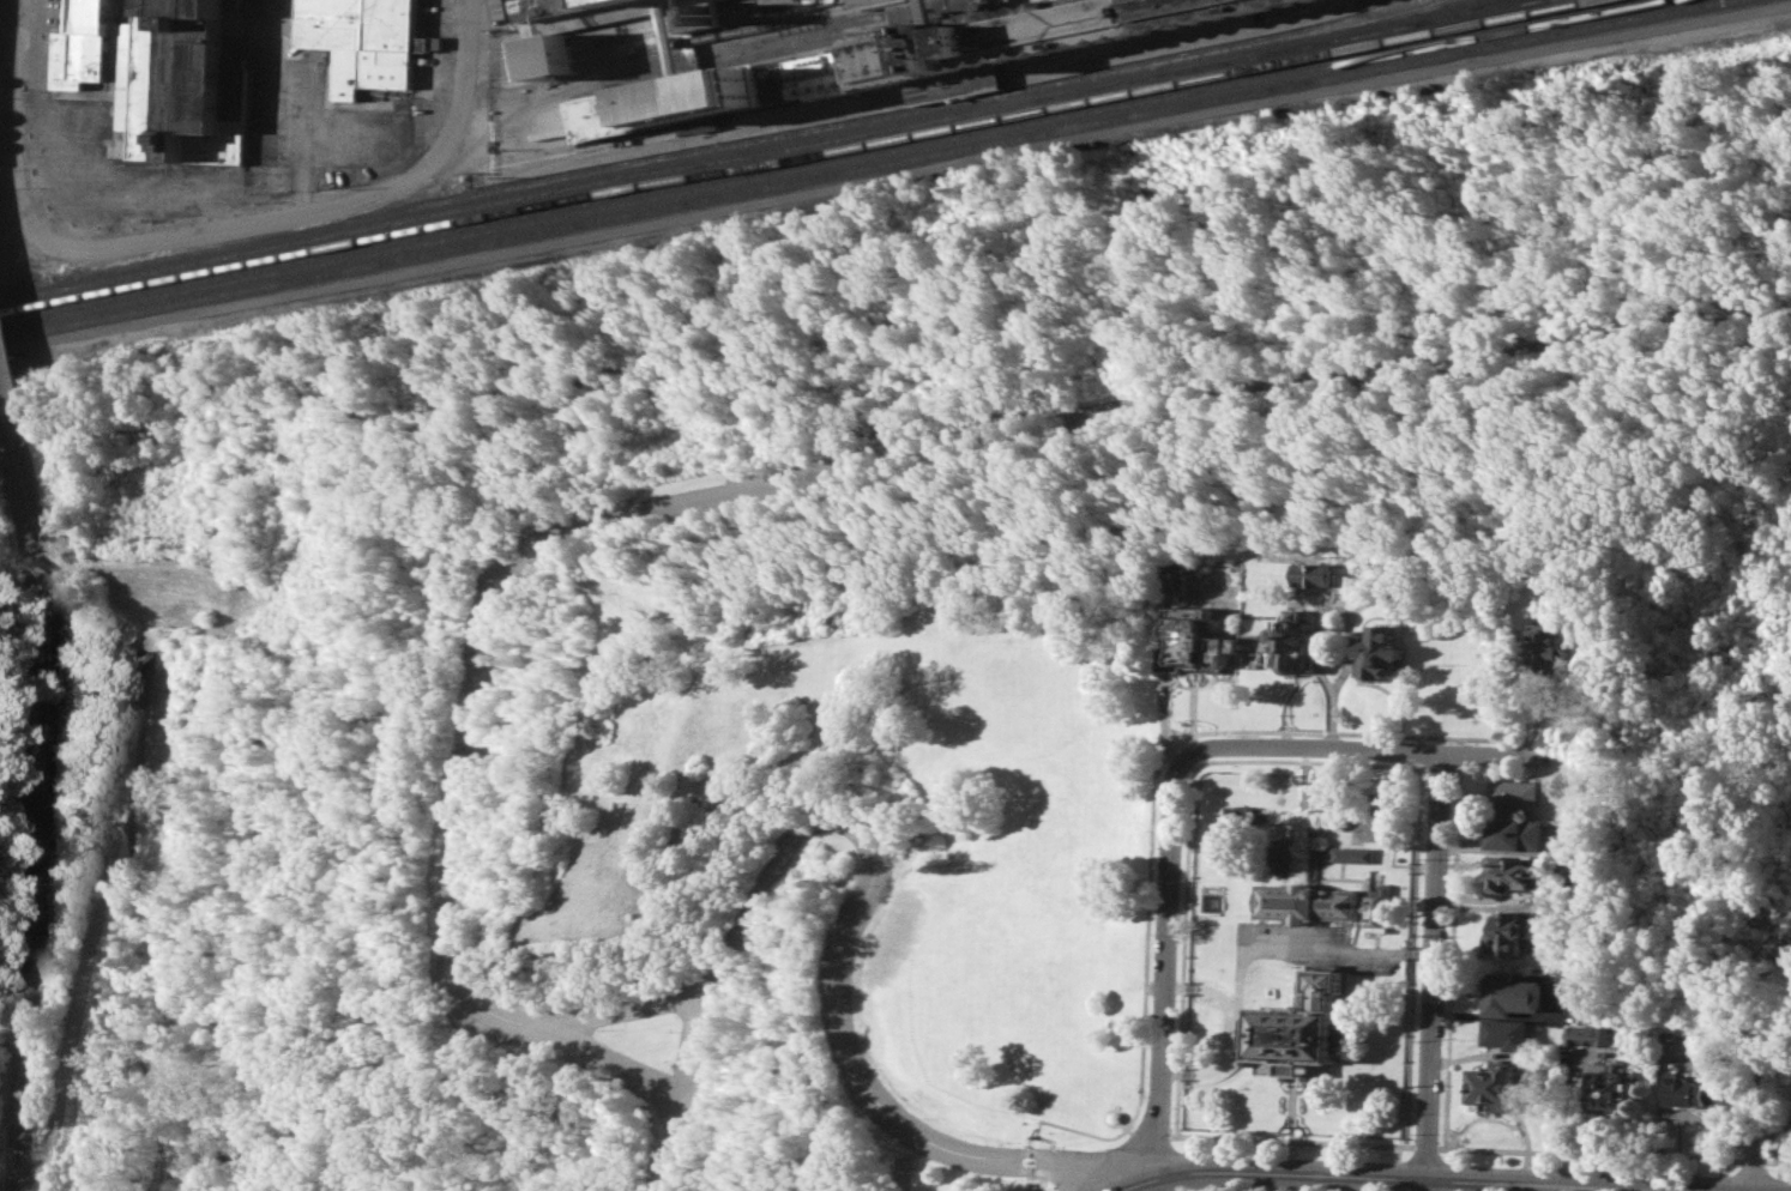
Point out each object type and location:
railway: (1458, 11)
railway: (1472, 11)
building: (590, 13)
road: (8, 32)
railway: (761, 37)
railway: (696, 38)
building: (362, 41)
building: (427, 43)
building: (62, 55)
building: (891, 64)
building: (186, 65)
railway: (655, 73)
railway: (1106, 91)
road: (300, 145)
railway: (718, 147)
railway: (801, 156)
railway: (707, 162)
railway: (837, 162)
railway: (867, 167)
road: (231, 226)
road: (7, 398)
road: (772, 486)
building: (1314, 574)
building: (1175, 579)
building: (1410, 579)
road: (11, 581)
road: (1320, 617)
park: (832, 634)
building: (1200, 637)
building: (1295, 641)
building: (1551, 649)
building: (1383, 652)
road: (1290, 699)
flagpole: (1477, 719)
road: (1311, 745)
road: (1490, 752)
road: (1188, 766)
road: (1307, 775)
building: (1515, 794)
road: (34, 812)
road: (1188, 817)
road: (10, 832)
building: (1516, 833)
road: (1151, 836)
road: (868, 844)
building: (1355, 853)
building: (1284, 854)
building: (1514, 871)
building: (1309, 901)
building: (1380, 905)
building: (1513, 931)
road: (1415, 939)
road: (1454, 941)
parking lot: (1317, 945)
road: (1250, 954)
road: (1434, 965)
road: (1163, 973)
road: (1202, 987)
building: (1512, 993)
road: (1, 1003)
road: (623, 1014)
building: (1304, 1026)
building: (1509, 1033)
building: (1584, 1035)
road: (1524, 1075)
building: (1494, 1087)
building: (1609, 1090)
building: (1690, 1090)
road: (1293, 1110)
road: (1725, 1131)
road: (1768, 1135)
road: (1270, 1138)
road: (1187, 1144)
road: (1425, 1144)
road: (1032, 1151)
road: (1399, 1151)
road: (1612, 1154)
road: (1291, 1155)
road: (1452, 1155)
road: (1030, 1169)
road: (1186, 1169)
road: (1398, 1174)
road: (1106, 1177)
road: (1417, 1177)
road: (1452, 1177)
road: (1424, 1184)
road: (1184, 1189)
road: (1689, 1190)

